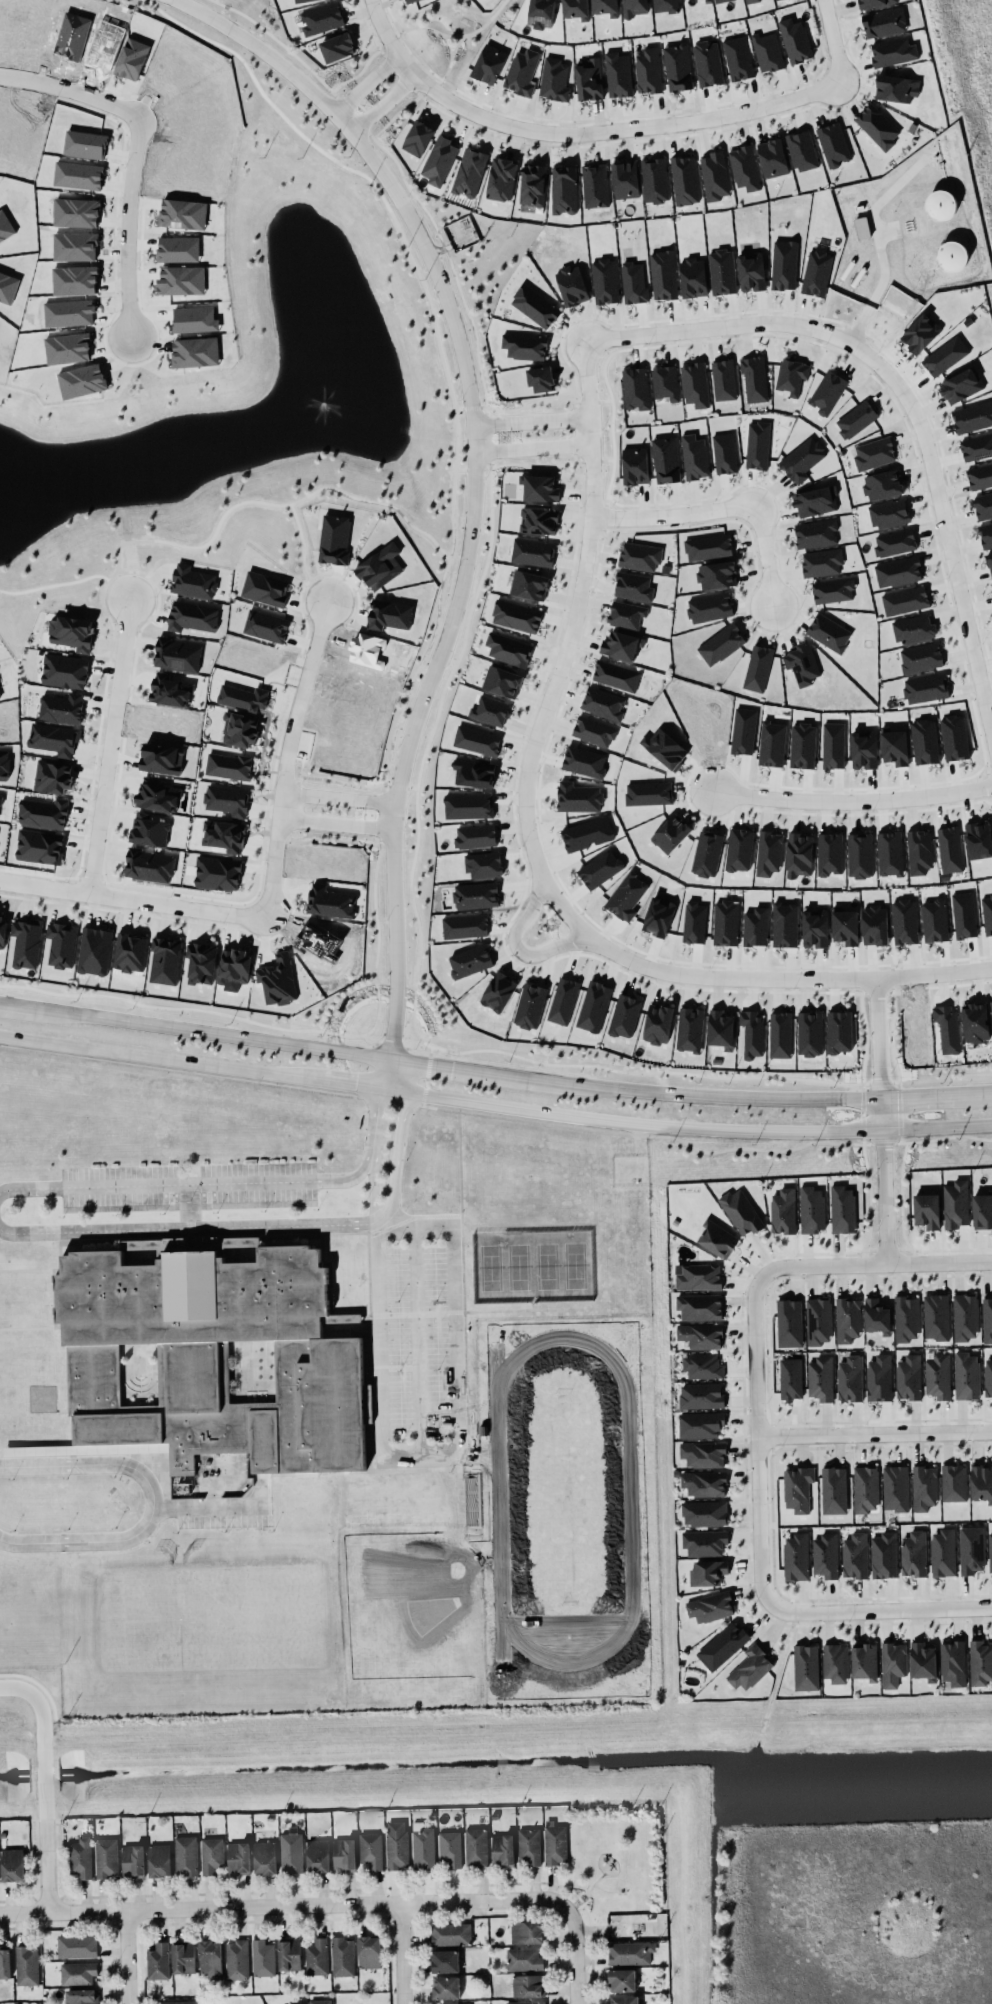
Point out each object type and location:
building: (409, 0)
building: (300, 1)
building: (720, 1)
building: (751, 1)
building: (873, 3)
building: (665, 6)
building: (606, 7)
building: (633, 7)
building: (576, 9)
building: (541, 13)
building: (322, 18)
building: (884, 22)
road: (386, 31)
building: (795, 39)
road: (834, 41)
building: (337, 47)
building: (767, 51)
building: (893, 51)
building: (738, 57)
building: (132, 58)
building: (489, 63)
building: (707, 63)
building: (677, 66)
building: (648, 70)
building: (522, 71)
building: (618, 74)
building: (554, 79)
building: (589, 79)
road: (368, 82)
building: (896, 88)
road: (387, 103)
building: (877, 126)
road: (616, 129)
building: (418, 137)
building: (85, 143)
building: (833, 144)
building: (802, 150)
building: (772, 157)
building: (439, 160)
road: (125, 163)
building: (744, 167)
building: (470, 172)
building: (78, 175)
building: (714, 175)
building: (502, 178)
building: (625, 179)
building: (654, 180)
building: (684, 180)
building: (533, 184)
building: (595, 185)
building: (564, 189)
building: (941, 204)
building: (182, 212)
building: (5, 227)
building: (862, 227)
building: (178, 248)
building: (953, 256)
building: (784, 264)
building: (722, 271)
building: (752, 271)
building: (816, 273)
building: (663, 274)
road: (885, 276)
building: (693, 277)
building: (605, 280)
building: (634, 282)
building: (572, 285)
building: (535, 305)
road: (707, 324)
building: (920, 333)
building: (524, 345)
building: (195, 351)
building: (945, 355)
building: (792, 375)
building: (541, 378)
building: (723, 379)
building: (754, 379)
building: (82, 380)
building: (665, 382)
building: (695, 384)
building: (961, 385)
building: (636, 388)
building: (827, 392)
fountain: (321, 409)
road: (536, 414)
building: (972, 416)
building: (856, 418)
road: (538, 442)
building: (757, 444)
building: (976, 447)
building: (724, 452)
building: (874, 453)
building: (694, 456)
building: (665, 459)
building: (802, 459)
building: (635, 465)
building: (980, 477)
building: (882, 484)
building: (540, 488)
road: (479, 494)
building: (816, 500)
road: (941, 500)
building: (983, 506)
building: (888, 512)
road: (671, 513)
building: (539, 520)
building: (816, 533)
building: (986, 534)
building: (334, 538)
road: (591, 541)
building: (895, 542)
building: (708, 547)
building: (533, 552)
building: (640, 555)
road: (756, 555)
building: (821, 562)
building: (990, 562)
building: (380, 566)
building: (898, 571)
building: (716, 574)
building: (192, 581)
building: (991, 582)
building: (529, 584)
building: (633, 586)
building: (265, 588)
building: (833, 590)
building: (905, 600)
building: (709, 607)
building: (389, 614)
building: (626, 614)
building: (516, 615)
building: (193, 616)
building: (266, 625)
building: (914, 628)
building: (72, 632)
building: (829, 632)
building: (721, 643)
building: (621, 645)
building: (508, 649)
building: (177, 654)
building: (920, 657)
building: (802, 663)
building: (758, 668)
building: (65, 670)
building: (616, 675)
building: (502, 681)
building: (926, 688)
building: (170, 689)
building: (243, 697)
building: (603, 703)
building: (62, 707)
building: (490, 710)
building: (240, 729)
building: (594, 730)
building: (743, 730)
road: (986, 731)
building: (954, 737)
building: (55, 738)
road: (115, 739)
building: (477, 740)
building: (925, 741)
building: (772, 743)
building: (802, 745)
building: (833, 745)
building: (665, 747)
building: (895, 747)
building: (864, 749)
road: (290, 751)
building: (162, 758)
building: (584, 761)
building: (4, 764)
building: (228, 765)
building: (52, 776)
building: (649, 793)
building: (157, 794)
road: (341, 794)
building: (578, 797)
building: (0, 798)
building: (227, 799)
road: (848, 801)
building: (468, 805)
building: (43, 812)
road: (338, 822)
building: (149, 829)
building: (671, 833)
building: (224, 835)
building: (475, 836)
building: (40, 846)
building: (739, 849)
building: (950, 849)
building: (919, 851)
building: (769, 852)
building: (829, 853)
building: (890, 853)
building: (707, 854)
building: (799, 854)
building: (860, 855)
building: (484, 864)
building: (149, 865)
building: (600, 868)
building: (218, 872)
building: (476, 895)
road: (136, 896)
building: (627, 896)
building: (987, 912)
building: (964, 914)
building: (935, 920)
building: (694, 921)
building: (904, 921)
building: (726, 922)
building: (785, 924)
building: (875, 924)
building: (465, 925)
building: (845, 925)
building: (756, 926)
building: (815, 928)
building: (2, 931)
building: (26, 942)
building: (61, 943)
road: (518, 946)
building: (94, 950)
building: (130, 952)
building: (165, 960)
building: (470, 960)
building: (201, 962)
building: (234, 965)
road: (670, 975)
building: (278, 979)
building: (563, 1001)
building: (991, 1003)
road: (17, 1005)
building: (530, 1005)
building: (594, 1006)
building: (625, 1015)
building: (975, 1022)
building: (658, 1023)
building: (947, 1027)
building: (720, 1028)
building: (690, 1029)
building: (839, 1031)
road: (215, 1033)
building: (752, 1033)
building: (810, 1033)
building: (780, 1034)
road: (870, 1037)
road: (160, 1058)
road: (473, 1070)
road: (356, 1086)
road: (973, 1092)
road: (914, 1095)
road: (711, 1096)
road: (691, 1126)
road: (394, 1157)
road: (876, 1178)
road: (227, 1184)
road: (374, 1191)
building: (956, 1204)
building: (811, 1209)
building: (842, 1209)
building: (783, 1210)
building: (927, 1210)
building: (982, 1210)
building: (741, 1211)
road: (414, 1223)
road: (186, 1229)
building: (717, 1238)
road: (876, 1261)
park: (533, 1264)
building: (699, 1277)
building: (700, 1306)
building: (876, 1316)
building: (936, 1316)
building: (965, 1316)
building: (906, 1318)
building: (847, 1319)
building: (987, 1319)
building: (818, 1320)
building: (789, 1322)
building: (701, 1335)
road: (417, 1339)
building: (211, 1355)
building: (703, 1366)
building: (966, 1375)
building: (938, 1376)
building: (908, 1377)
building: (988, 1377)
building: (790, 1378)
building: (820, 1378)
building: (849, 1378)
building: (879, 1378)
building: (701, 1395)
building: (700, 1424)
road: (874, 1430)
road: (756, 1435)
building: (703, 1453)
road: (421, 1454)
building: (954, 1482)
building: (981, 1482)
building: (704, 1483)
building: (895, 1487)
building: (924, 1487)
building: (798, 1488)
building: (865, 1488)
building: (834, 1490)
road: (155, 1502)
road: (220, 1507)
building: (705, 1513)
building: (704, 1542)
building: (971, 1549)
building: (942, 1552)
building: (990, 1552)
building: (913, 1553)
building: (826, 1555)
building: (855, 1555)
building: (883, 1555)
building: (796, 1556)
building: (708, 1572)
building: (710, 1606)
road: (876, 1610)
building: (723, 1645)
building: (865, 1661)
building: (923, 1661)
building: (835, 1662)
building: (953, 1662)
building: (980, 1662)
building: (893, 1663)
building: (750, 1667)
building: (806, 1667)
road: (39, 1710)
road: (41, 1775)
road: (44, 1804)
building: (555, 1842)
building: (396, 1844)
building: (423, 1846)
building: (529, 1846)
building: (476, 1847)
building: (450, 1848)
building: (371, 1849)
building: (503, 1849)
building: (291, 1850)
building: (211, 1854)
building: (344, 1854)
building: (185, 1855)
building: (317, 1855)
building: (80, 1857)
building: (106, 1857)
building: (239, 1857)
building: (265, 1857)
park: (618, 1857)
building: (133, 1860)
building: (159, 1860)
building: (12, 1864)
road: (47, 1864)
road: (594, 1882)
road: (606, 1888)
road: (587, 1893)
road: (286, 1904)
building: (526, 1932)
building: (451, 1933)
building: (77, 1946)
building: (369, 1951)
road: (403, 1953)
building: (628, 1953)
building: (289, 1954)
road: (576, 1955)
road: (127, 1956)
building: (316, 1956)
building: (342, 1956)
building: (183, 1957)
building: (262, 1957)
building: (211, 1958)
building: (237, 1959)
building: (524, 1959)
building: (445, 1960)
building: (158, 1961)
building: (5, 1962)
building: (27, 1965)
building: (78, 1972)
building: (622, 1979)
building: (528, 1985)
building: (446, 1987)
building: (82, 1996)
building: (625, 1999)
building: (320, 2001)
building: (178, 2002)
building: (525, 2002)
building: (300, 2003)
building: (454, 2003)

